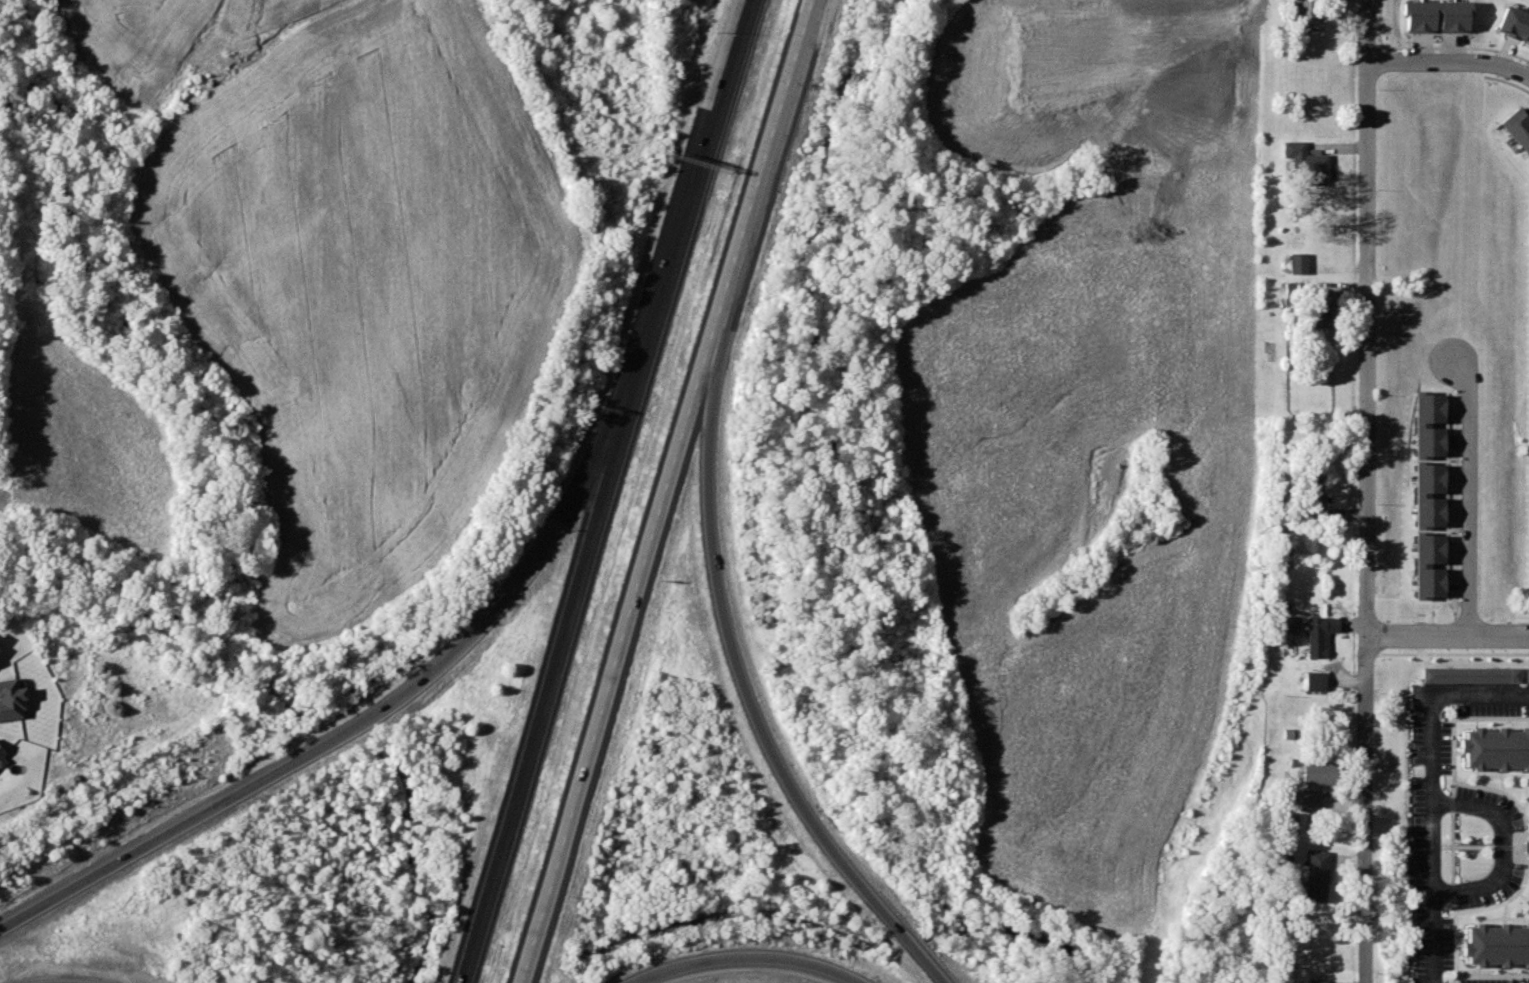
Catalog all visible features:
building: (1434, 13)
building: (1308, 16)
building: (1513, 21)
road: (1505, 52)
road: (1449, 60)
building: (1516, 130)
building: (1305, 162)
road: (761, 163)
road: (687, 216)
building: (1295, 264)
building: (1319, 313)
building: (1427, 418)
crop: (1096, 441)
building: (1425, 489)
road: (1363, 491)
building: (1309, 492)
road: (1472, 492)
building: (1425, 559)
building: (1320, 634)
road: (1446, 638)
building: (1, 649)
road: (616, 654)
building: (1472, 674)
building: (1527, 674)
building: (1314, 681)
road: (742, 683)
building: (15, 703)
road: (543, 708)
road: (351, 725)
building: (1494, 742)
building: (3, 760)
building: (1319, 772)
road: (1426, 785)
building: (1310, 800)
building: (1292, 822)
road: (1504, 839)
building: (1314, 875)
river: (906, 942)
building: (1494, 944)
road: (741, 956)
building: (1314, 980)

